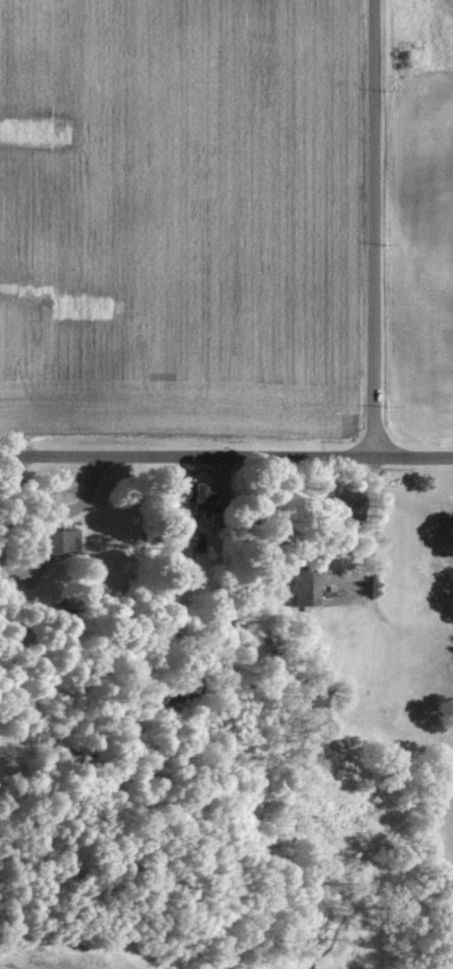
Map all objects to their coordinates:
road: (374, 229)
road: (226, 457)
building: (185, 494)
building: (50, 545)
building: (303, 588)
road: (378, 594)

